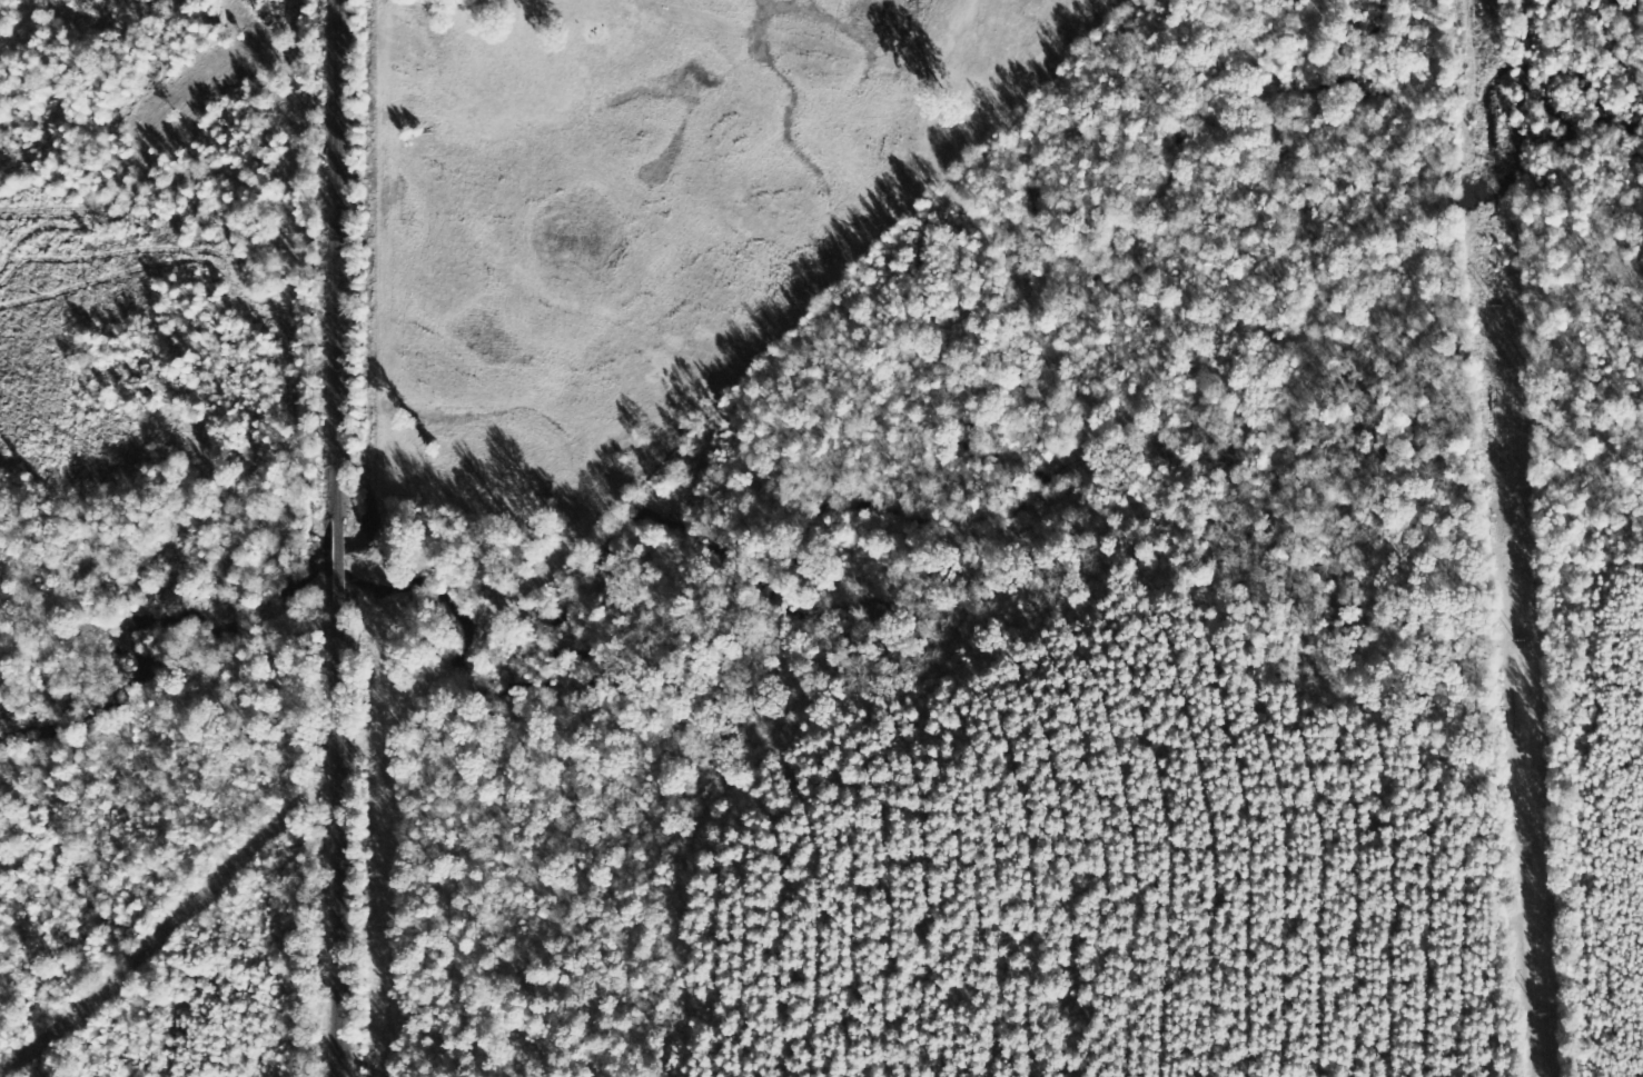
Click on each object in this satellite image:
power tower: (1497, 306)
railway: (362, 538)
power tower: (1521, 642)
power tower: (1538, 1015)

